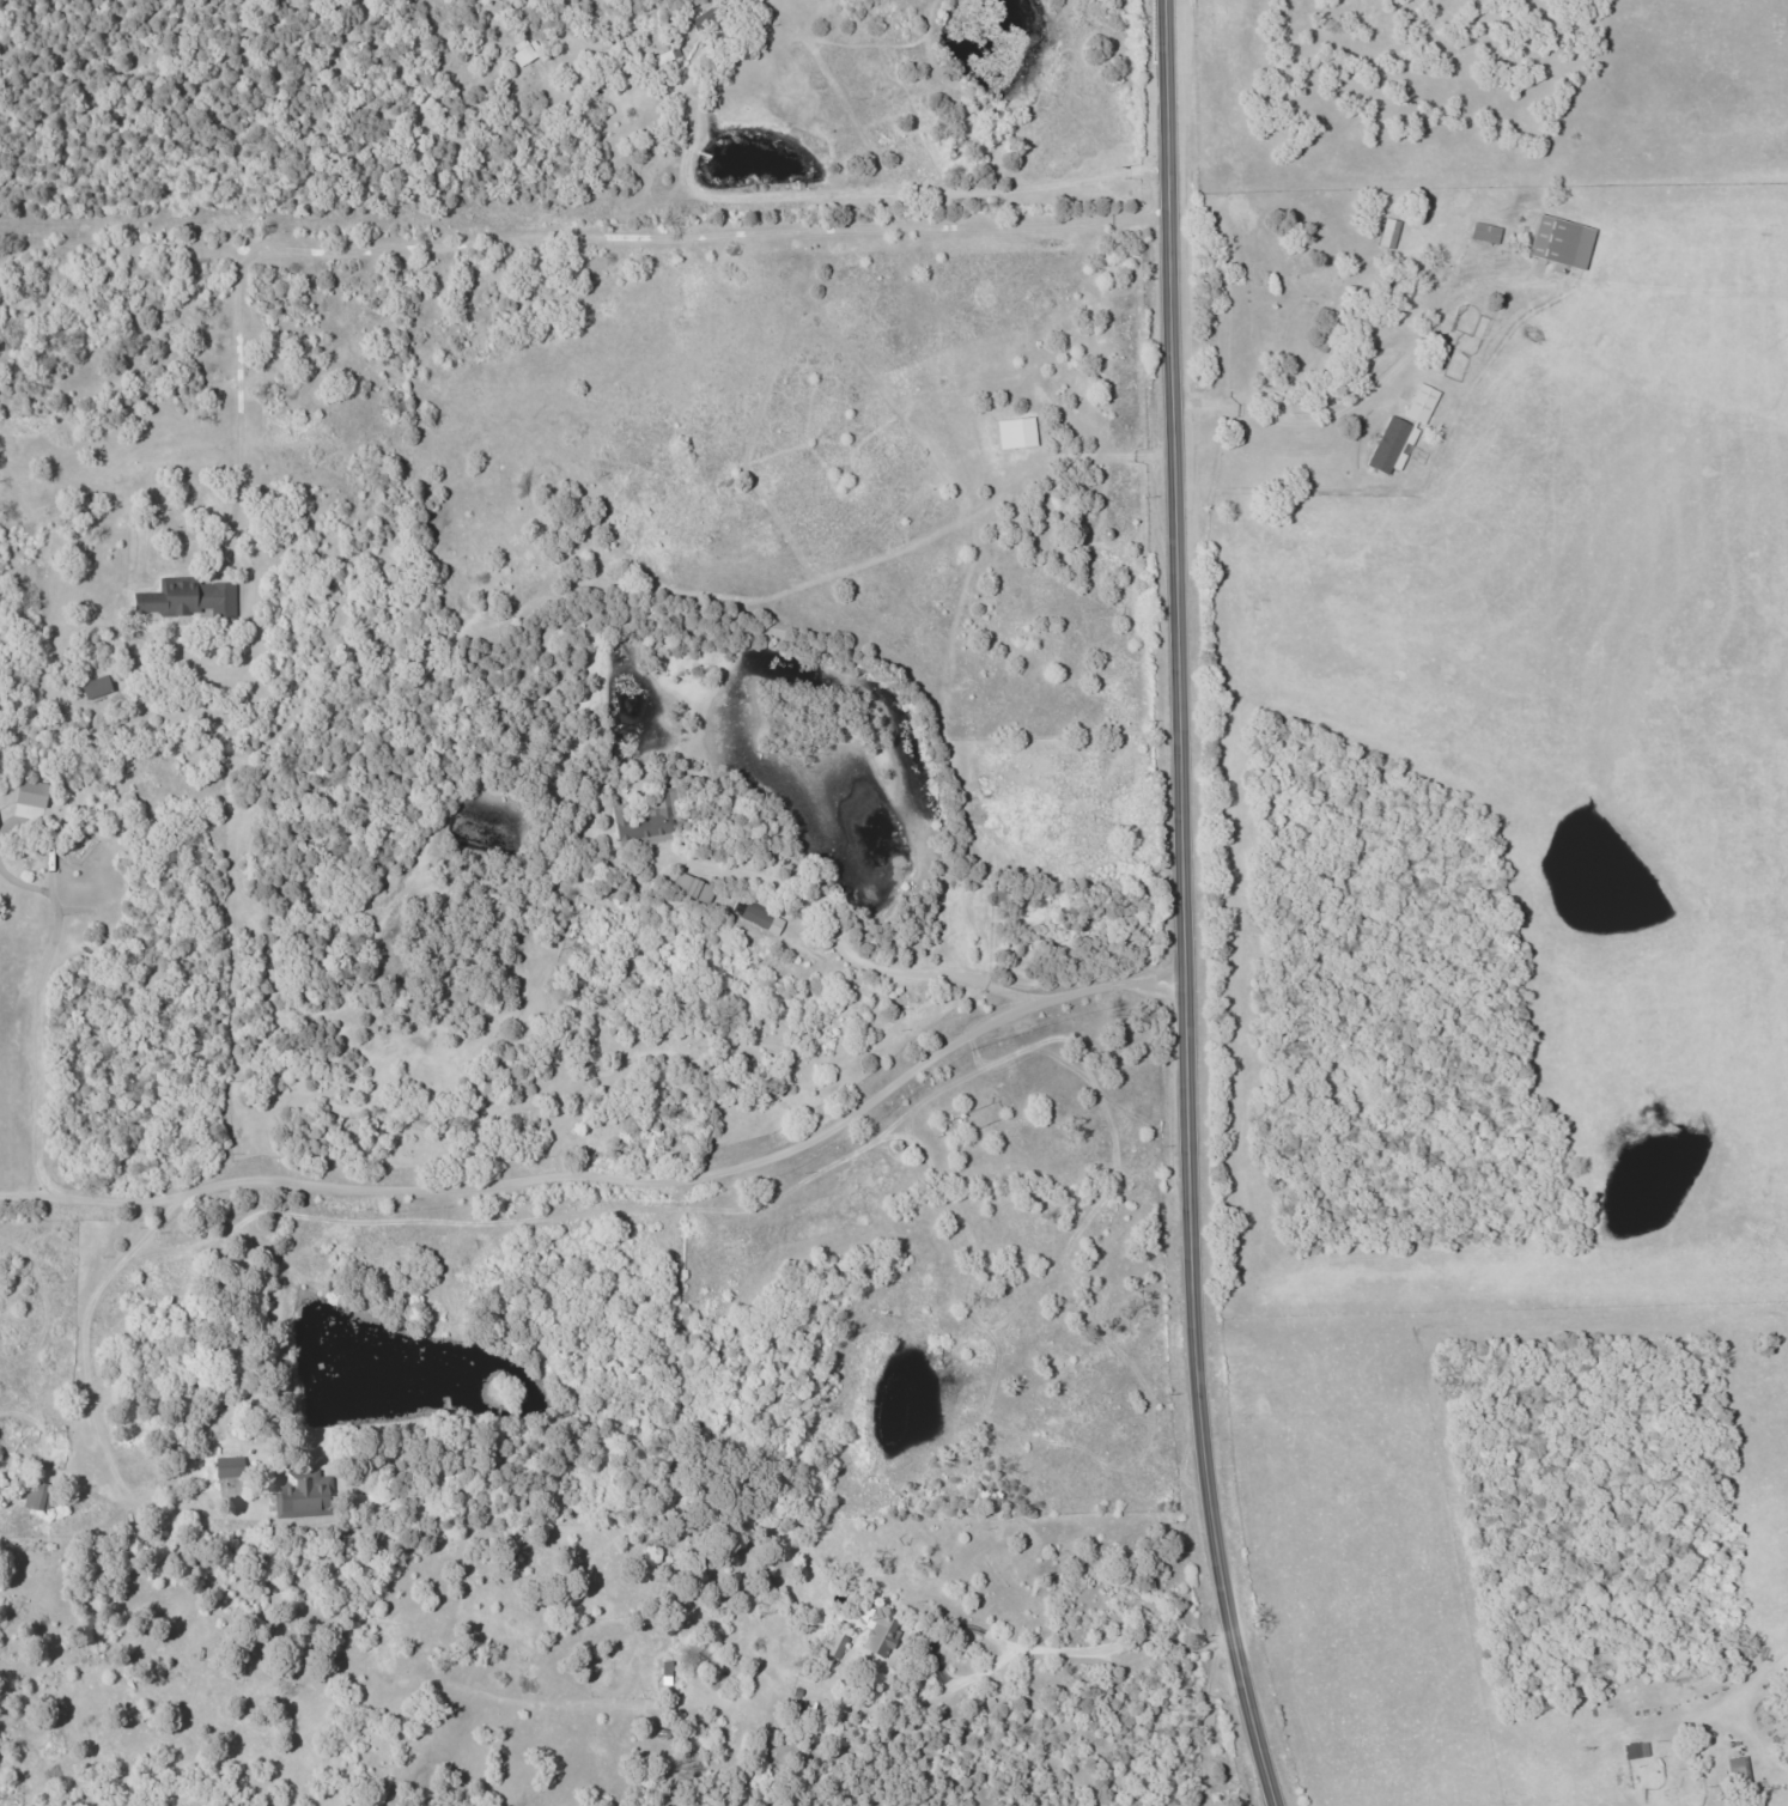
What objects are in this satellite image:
building: (525, 51)
building: (665, 54)
road: (826, 193)
building: (1485, 232)
building: (1388, 233)
road: (559, 238)
building: (1561, 242)
road: (1271, 418)
building: (1016, 432)
building: (1391, 444)
building: (190, 597)
building: (95, 686)
building: (31, 792)
building: (646, 820)
building: (691, 886)
road: (1185, 906)
building: (761, 917)
road: (846, 950)
road: (31, 1029)
road: (615, 1179)
road: (90, 1399)
building: (227, 1466)
building: (299, 1494)
building: (37, 1497)
building: (881, 1630)
building: (837, 1644)
road: (1018, 1654)
building: (665, 1672)
building: (1739, 1770)

